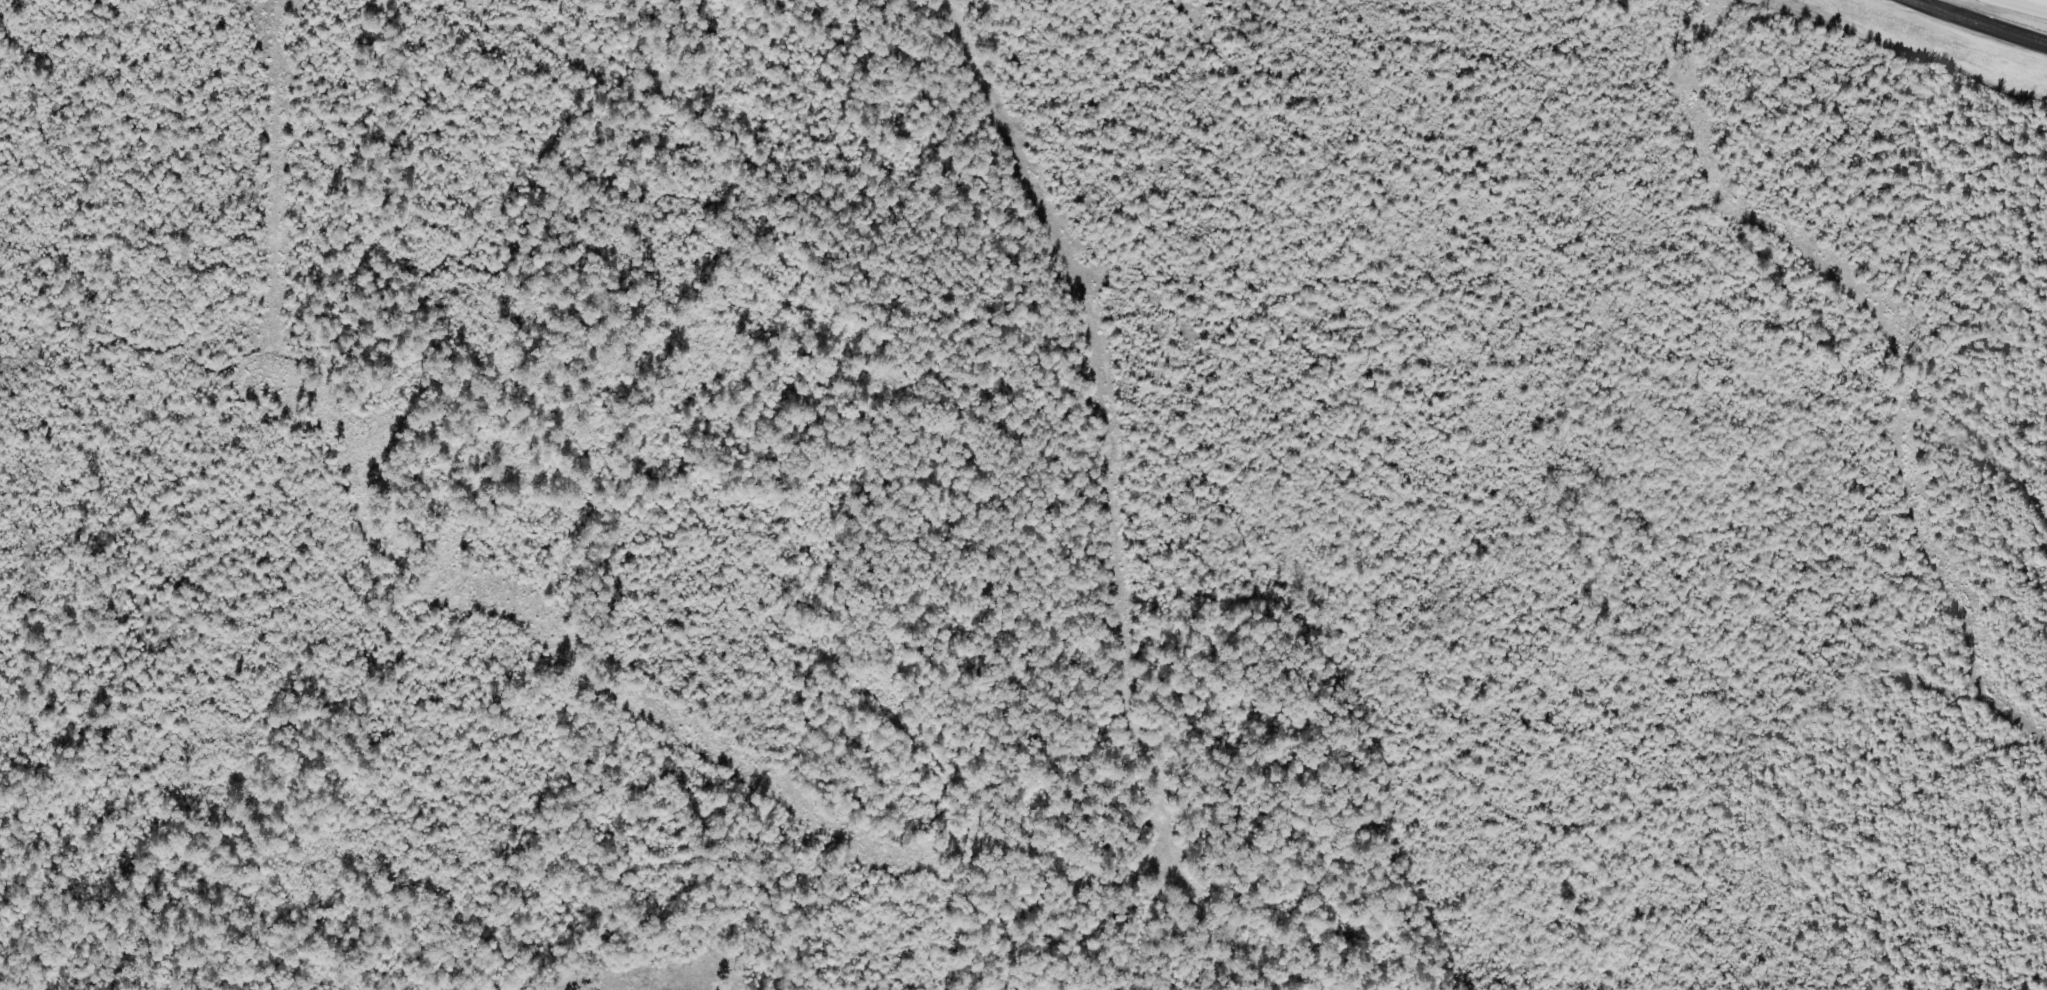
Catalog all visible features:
road: (2035, 2)
road: (1979, 24)

